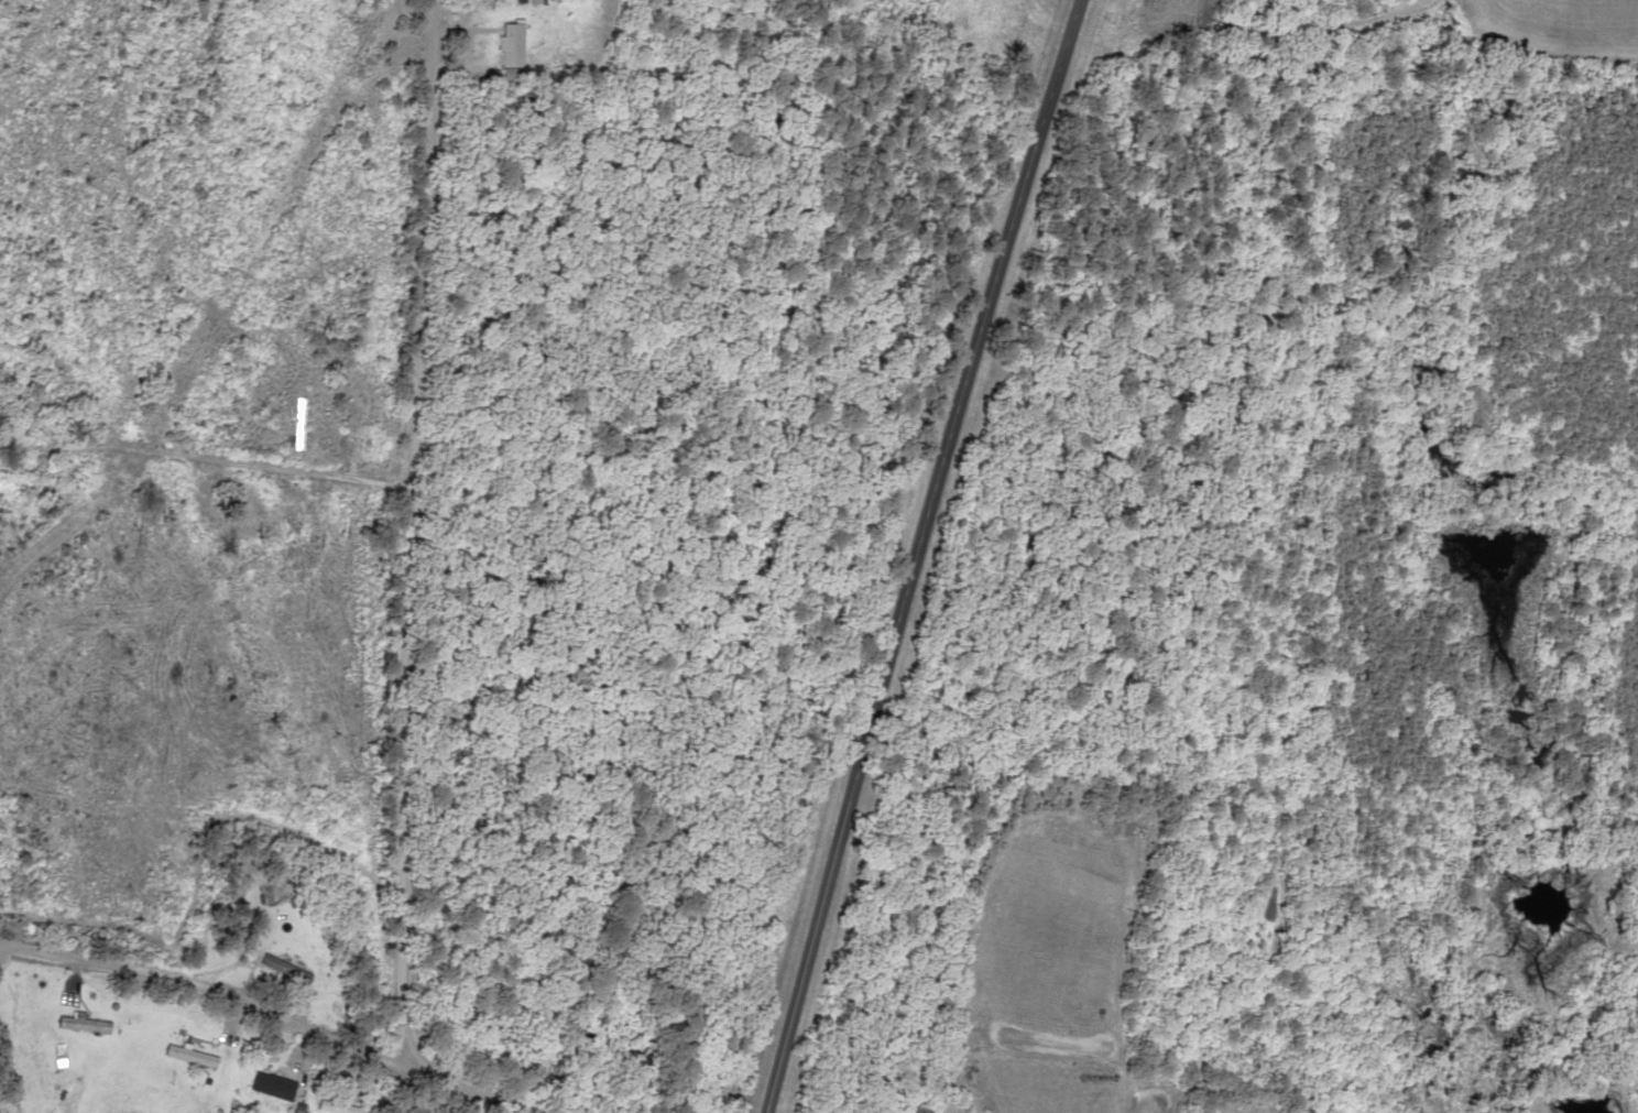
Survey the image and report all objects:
building: (531, 1)
building: (296, 425)
road: (271, 481)
road: (904, 553)
road: (437, 593)
building: (274, 967)
road: (250, 1008)
building: (83, 1025)
building: (264, 1084)

